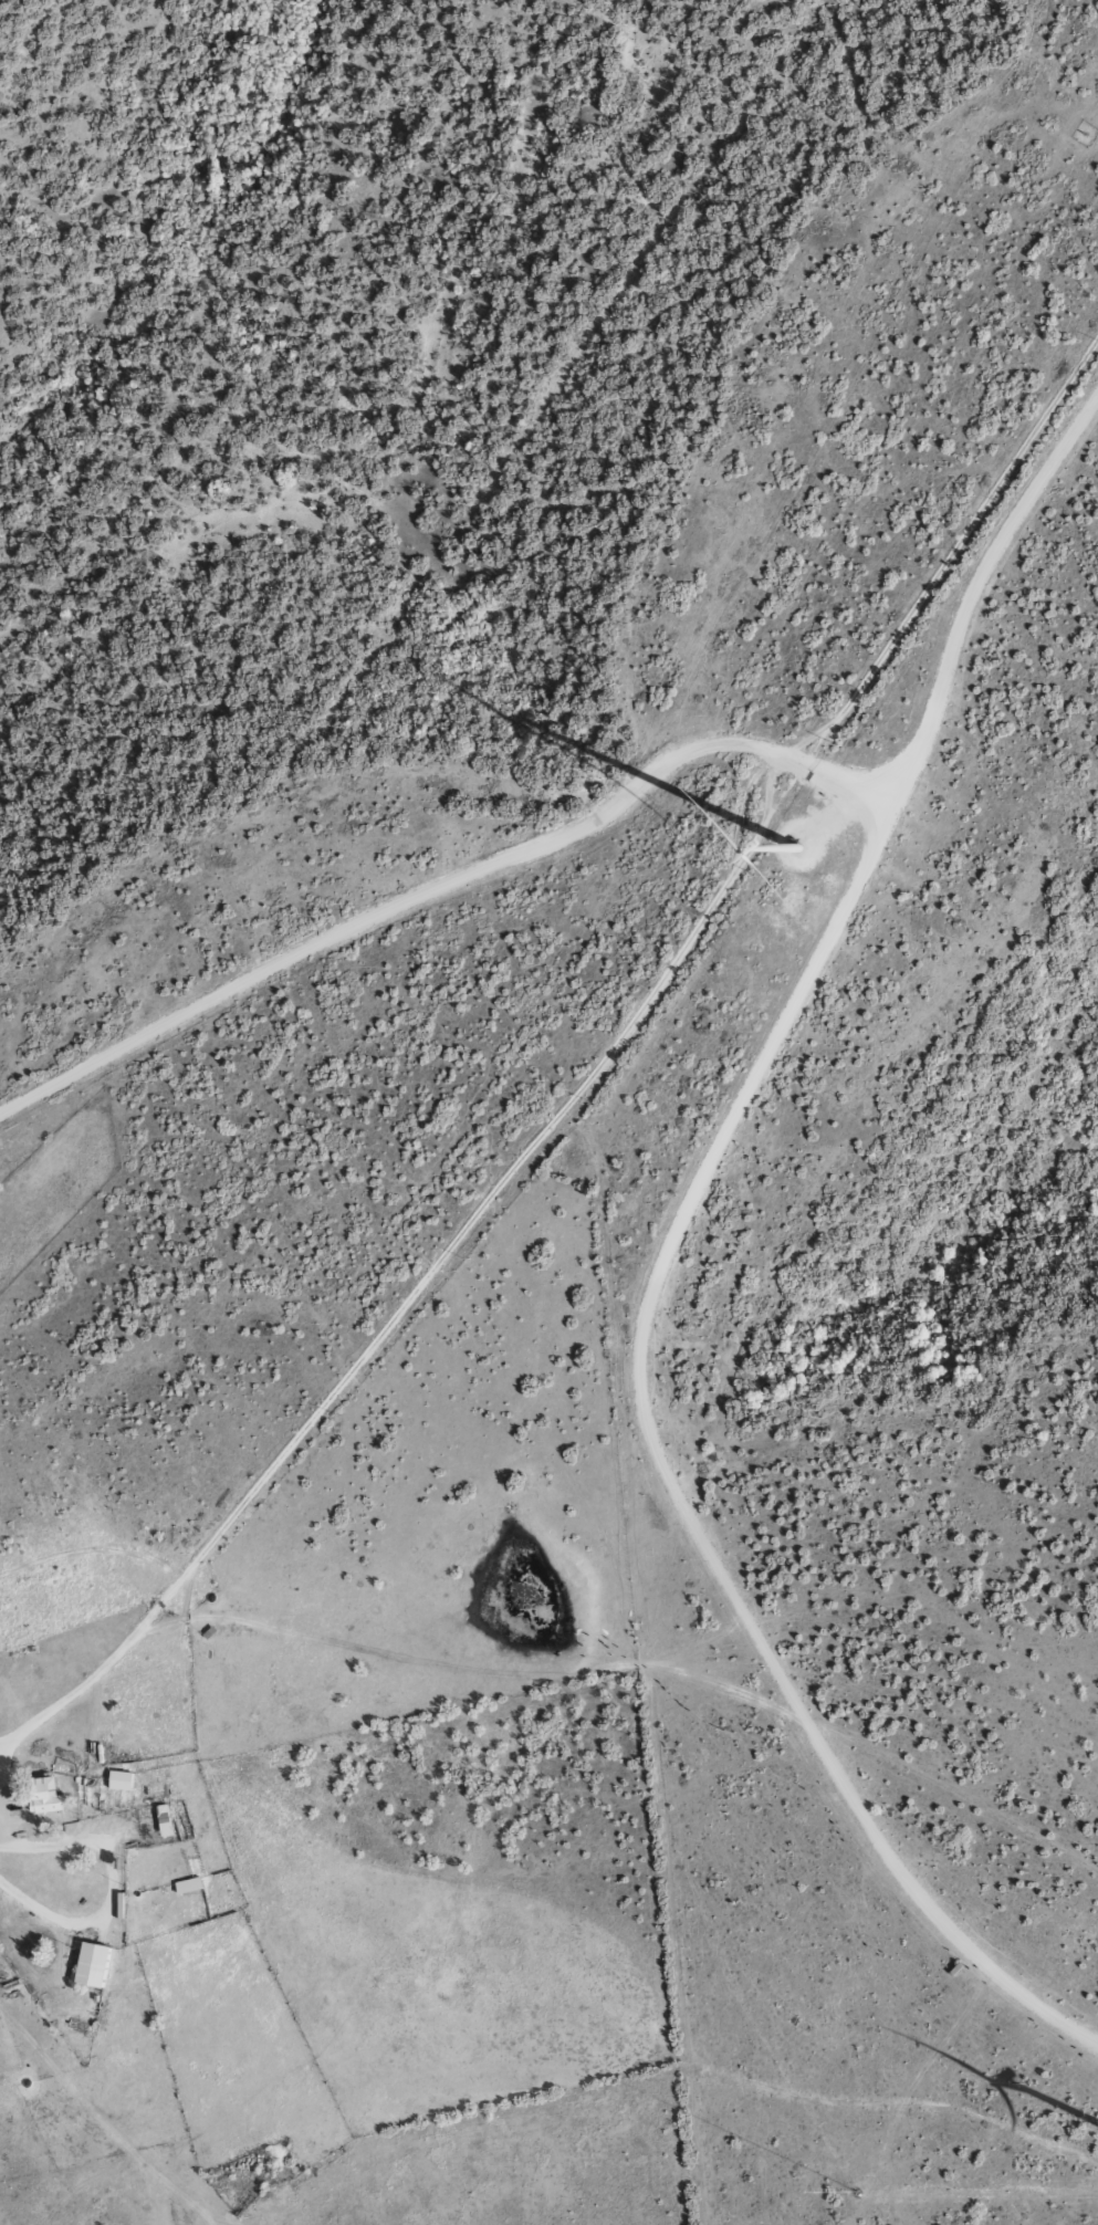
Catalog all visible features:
wind turbine: (796, 847)
road: (445, 884)
road: (667, 1251)
building: (122, 1779)
road: (1, 1787)
building: (46, 1794)
road: (111, 1883)
building: (190, 1884)
building: (94, 1963)

